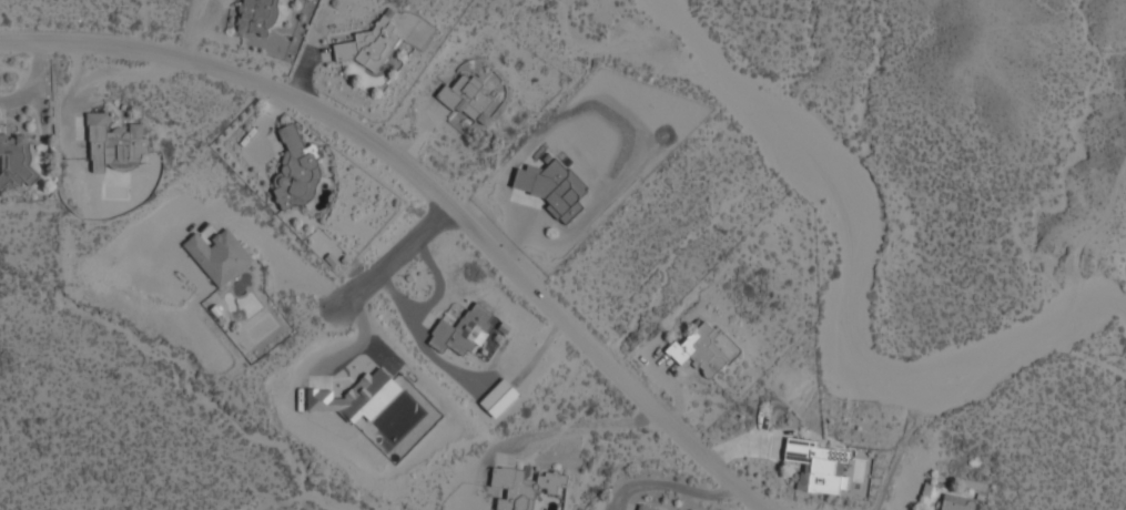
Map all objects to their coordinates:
building: (255, 18)
building: (369, 47)
building: (466, 102)
building: (114, 145)
building: (14, 161)
building: (294, 171)
building: (552, 190)
road: (429, 195)
building: (217, 256)
road: (393, 261)
building: (461, 333)
building: (698, 351)
building: (355, 397)
building: (498, 398)
building: (818, 468)
building: (524, 487)
building: (956, 503)
building: (643, 509)

